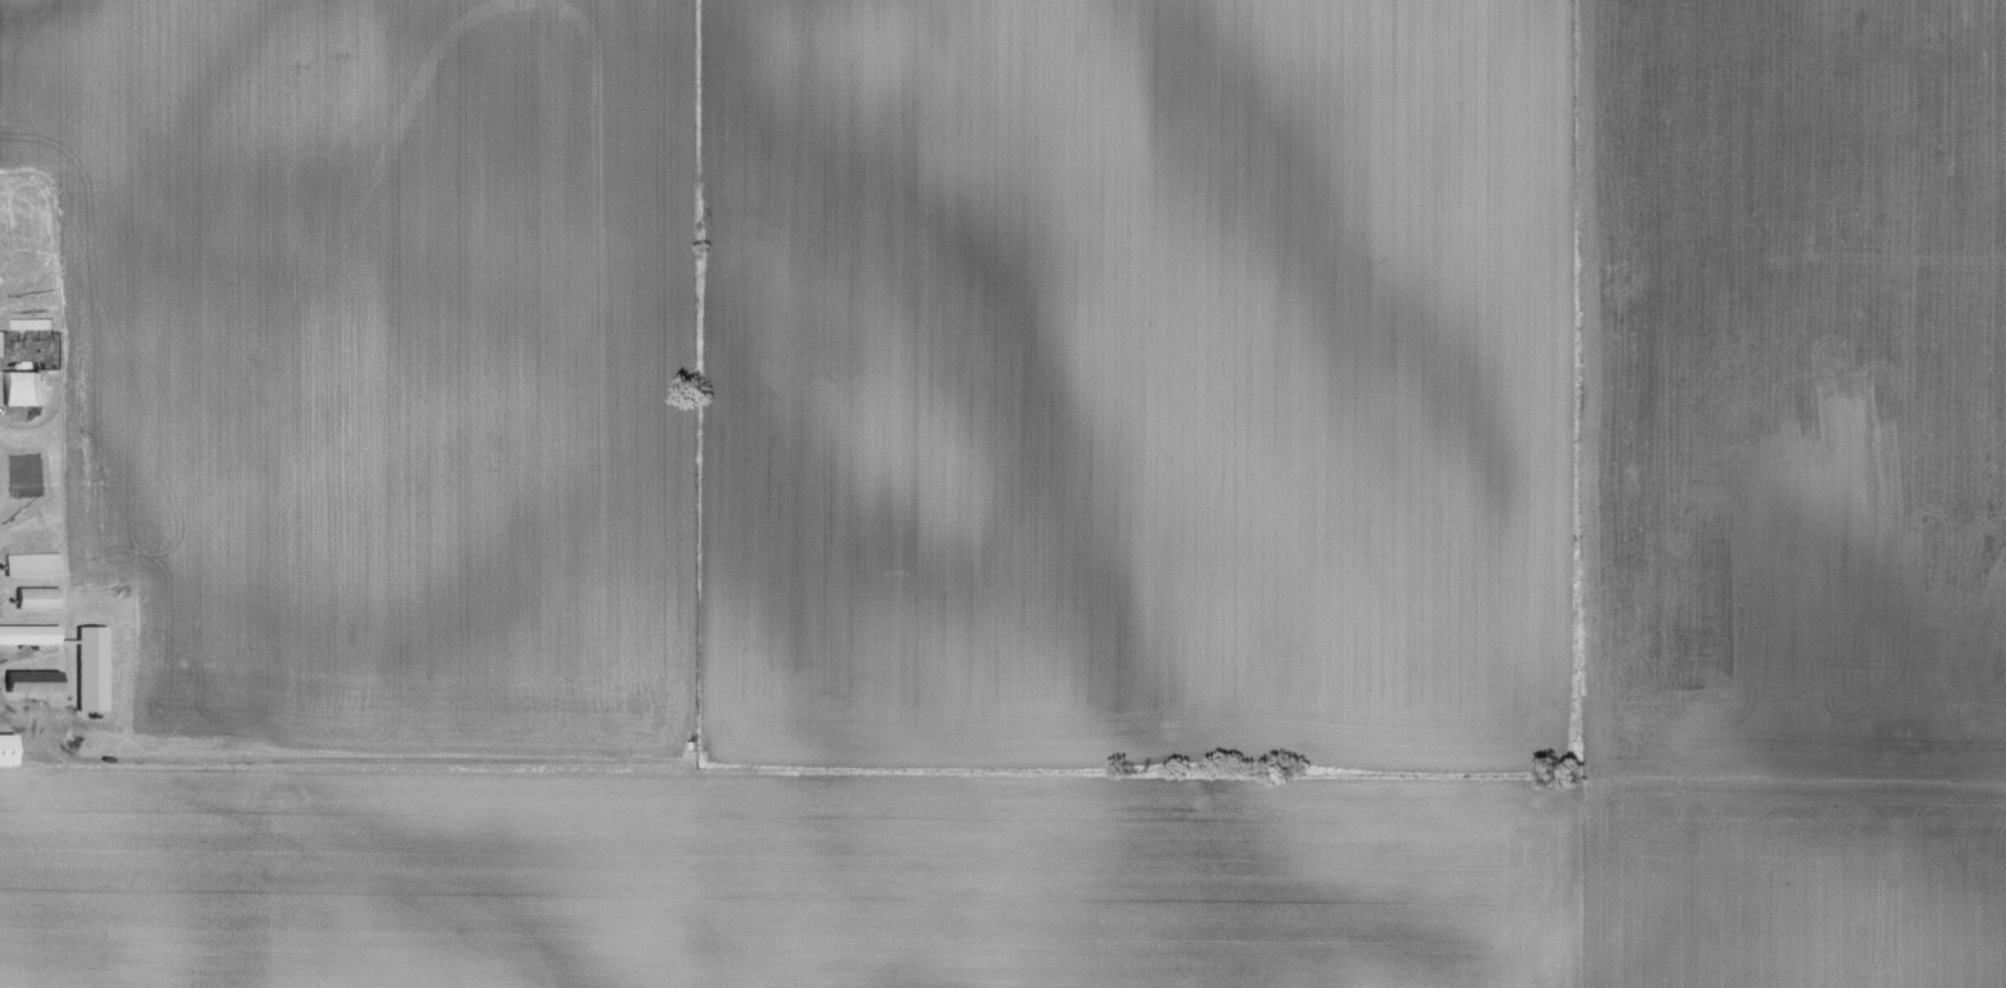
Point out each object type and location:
building: (22, 388)
building: (31, 564)
building: (37, 598)
building: (29, 633)
building: (91, 668)
building: (34, 681)
building: (7, 749)

